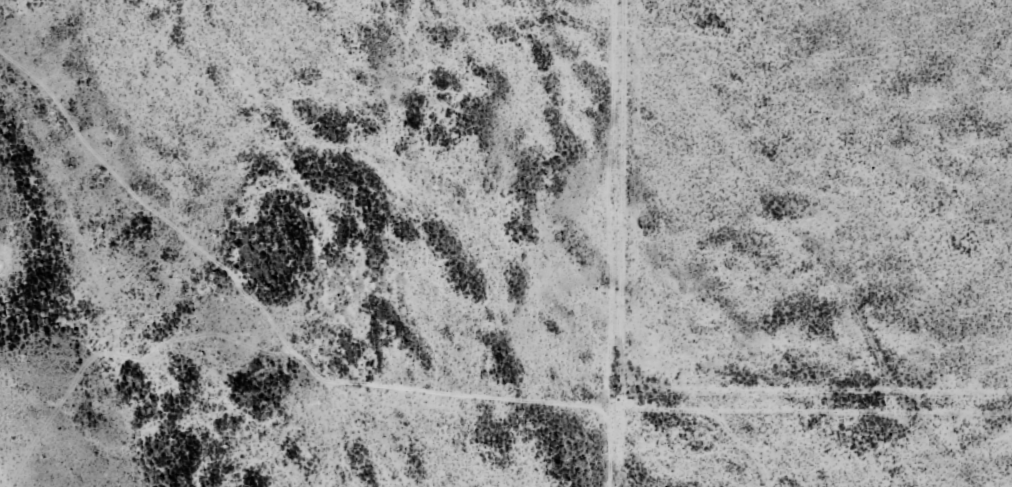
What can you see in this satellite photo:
road: (845, 407)

